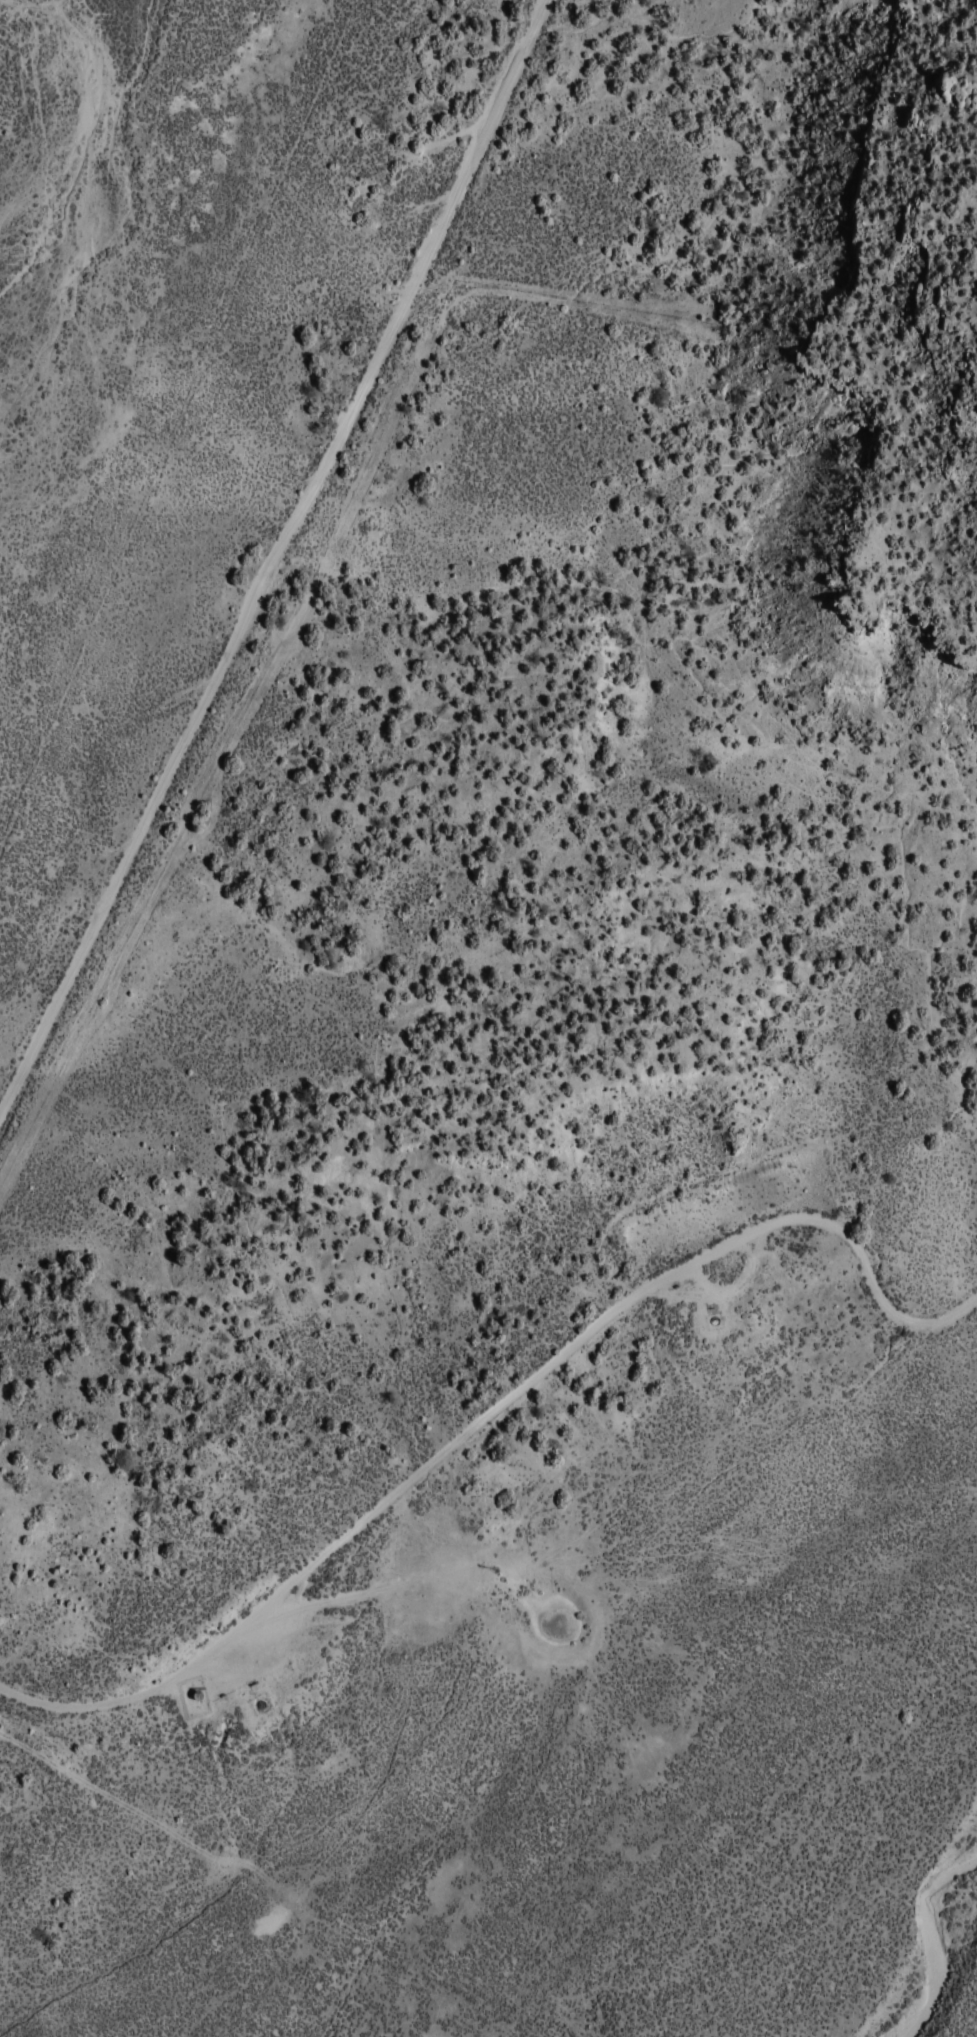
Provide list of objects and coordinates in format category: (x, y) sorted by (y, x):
road: (281, 563)
road: (67, 1686)

